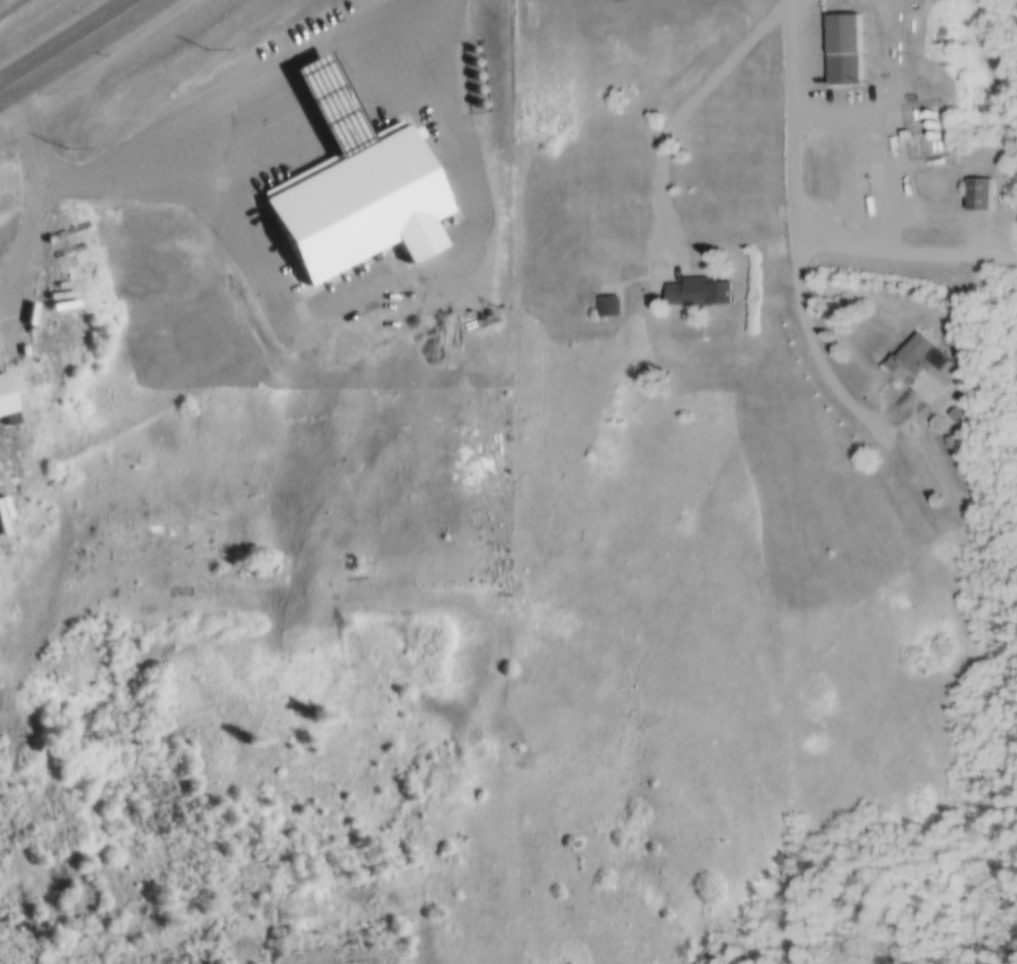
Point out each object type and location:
road: (13, 8)
road: (68, 45)
storage tank: (475, 46)
building: (843, 48)
storage tank: (476, 58)
storage tank: (477, 72)
road: (2, 86)
storage tank: (479, 86)
storage tank: (480, 99)
building: (330, 102)
gas station: (330, 102)
road: (688, 109)
building: (929, 109)
storage tank: (929, 109)
road: (241, 117)
building: (931, 120)
storage tank: (931, 120)
road: (797, 122)
building: (932, 131)
storage tank: (932, 131)
road: (897, 145)
road: (31, 177)
building: (976, 196)
building: (356, 201)
building: (639, 205)
building: (576, 238)
road: (909, 251)
building: (701, 289)
building: (609, 302)
building: (153, 340)
building: (926, 354)
road: (833, 370)
building: (4, 395)
road: (4, 472)

